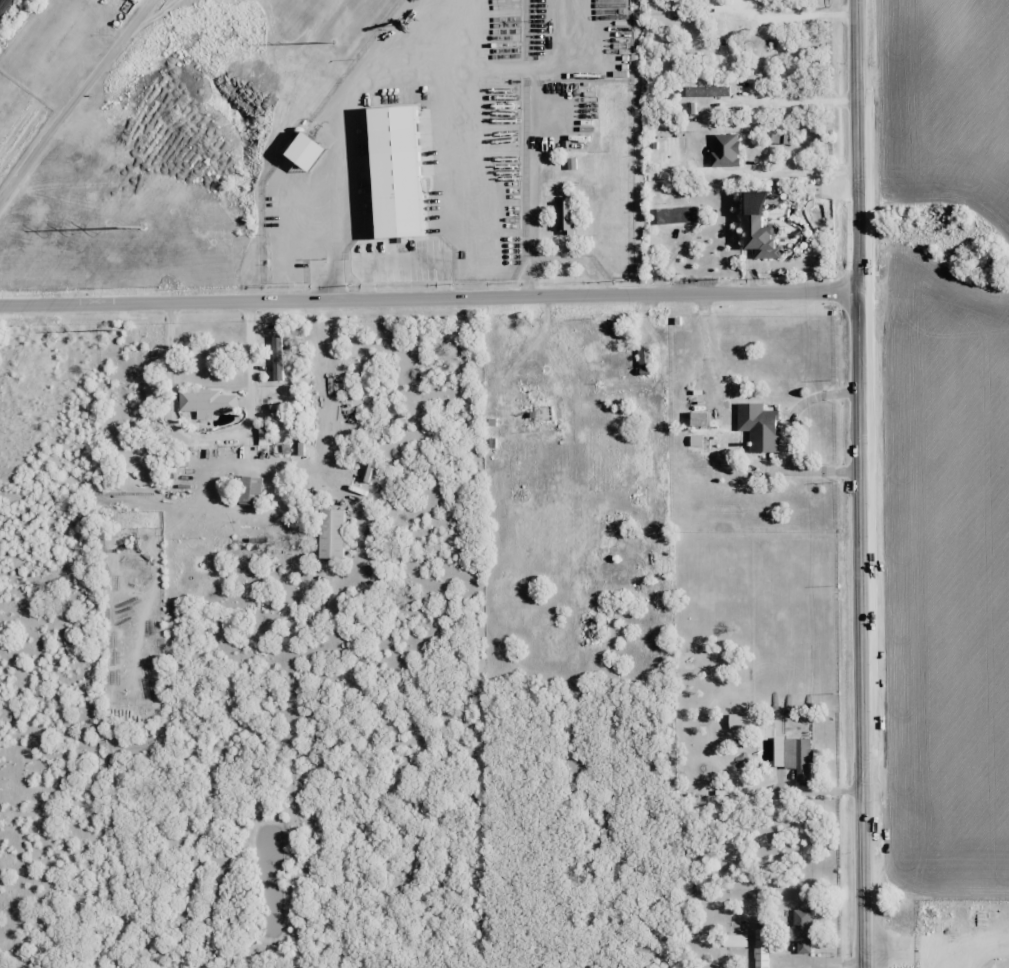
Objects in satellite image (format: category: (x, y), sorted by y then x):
railway: (1, 1)
power tower: (333, 41)
building: (500, 68)
crop: (944, 101)
building: (704, 111)
building: (724, 150)
building: (313, 153)
building: (688, 156)
building: (403, 175)
building: (301, 183)
building: (675, 215)
building: (564, 217)
power tower: (141, 227)
road: (429, 298)
power tower: (119, 329)
building: (276, 357)
building: (644, 358)
building: (528, 392)
building: (205, 402)
building: (696, 418)
building: (757, 426)
building: (495, 453)
road: (860, 484)
building: (250, 490)
building: (111, 518)
building: (330, 533)
crop: (945, 615)
building: (744, 722)
building: (792, 756)
building: (799, 931)
building: (738, 943)
building: (765, 950)

